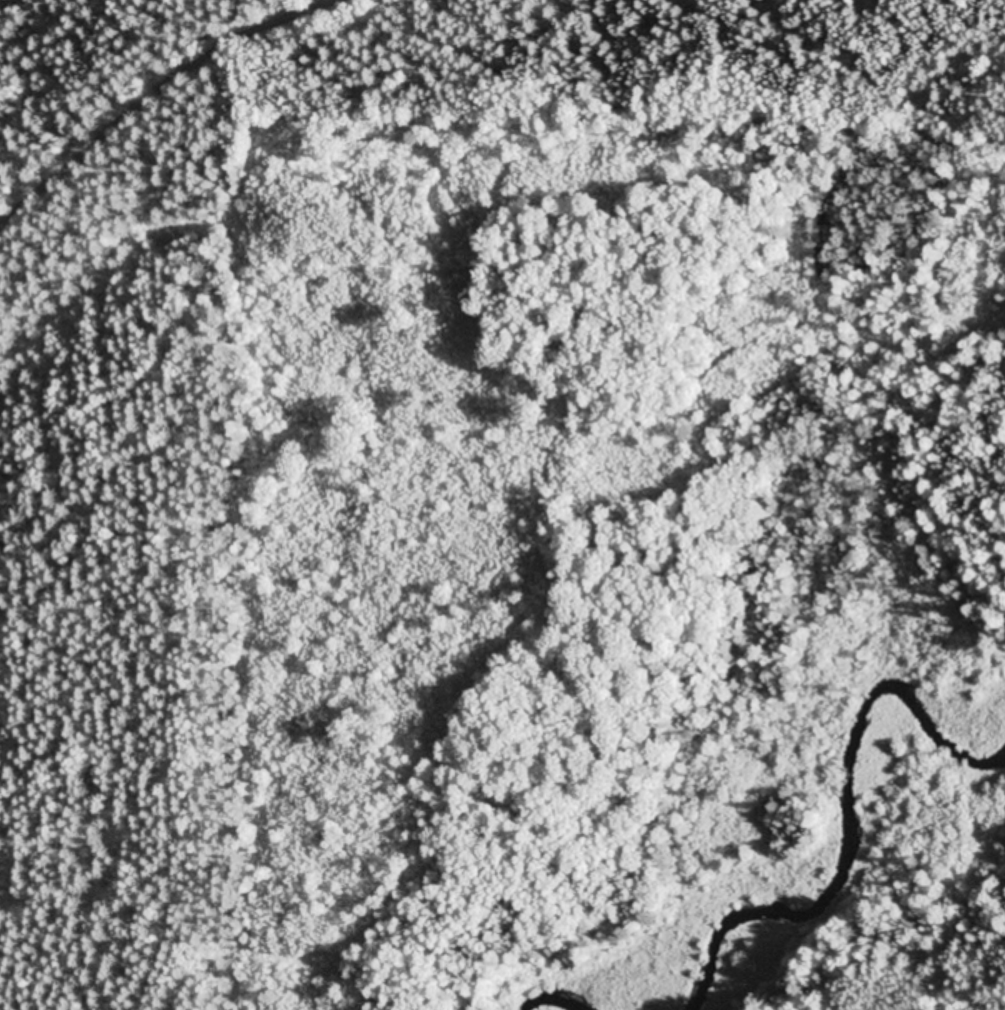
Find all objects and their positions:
road: (169, 106)
road: (97, 504)

